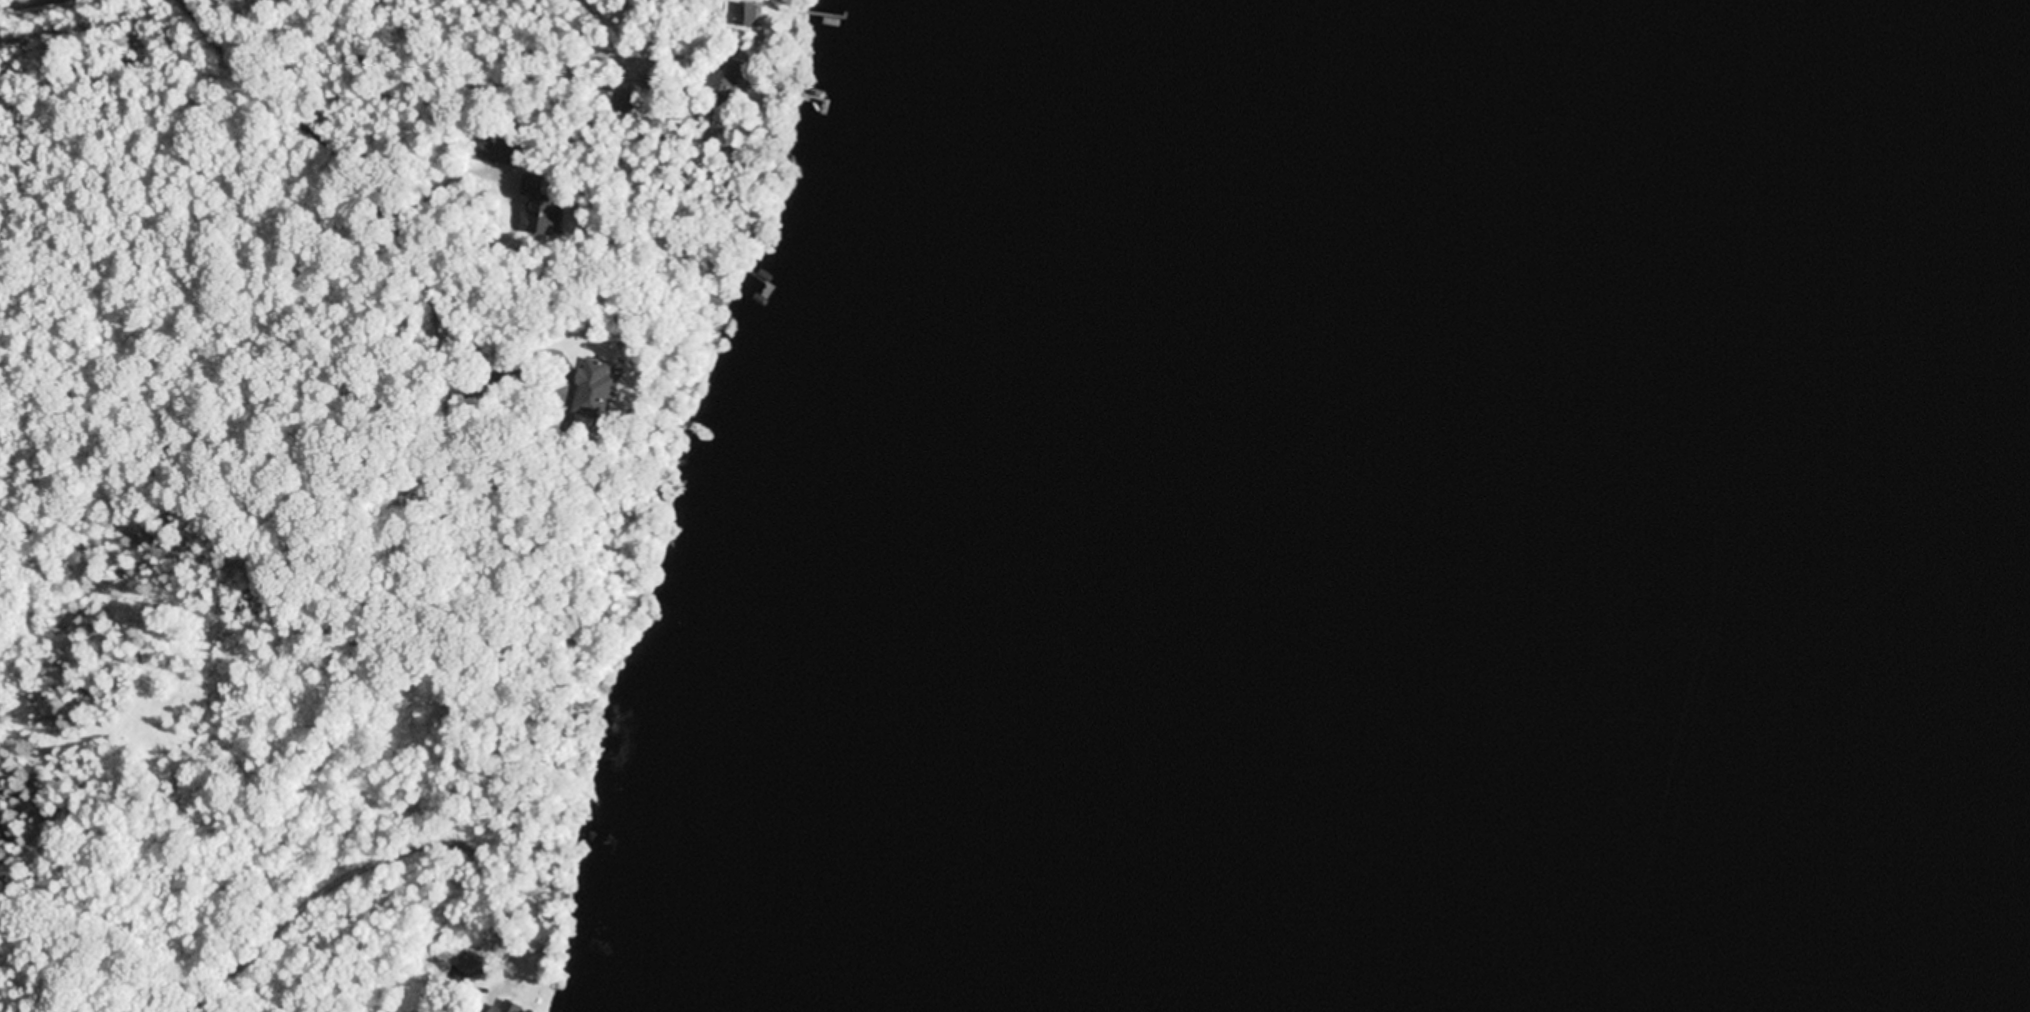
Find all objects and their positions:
building: (750, 13)
road: (313, 24)
building: (725, 75)
road: (361, 86)
road: (450, 103)
river: (1851, 185)
building: (543, 217)
building: (593, 378)
road: (464, 447)
road: (496, 657)
river: (1484, 672)
road: (519, 697)
road: (436, 917)
road: (262, 942)
road: (374, 991)

